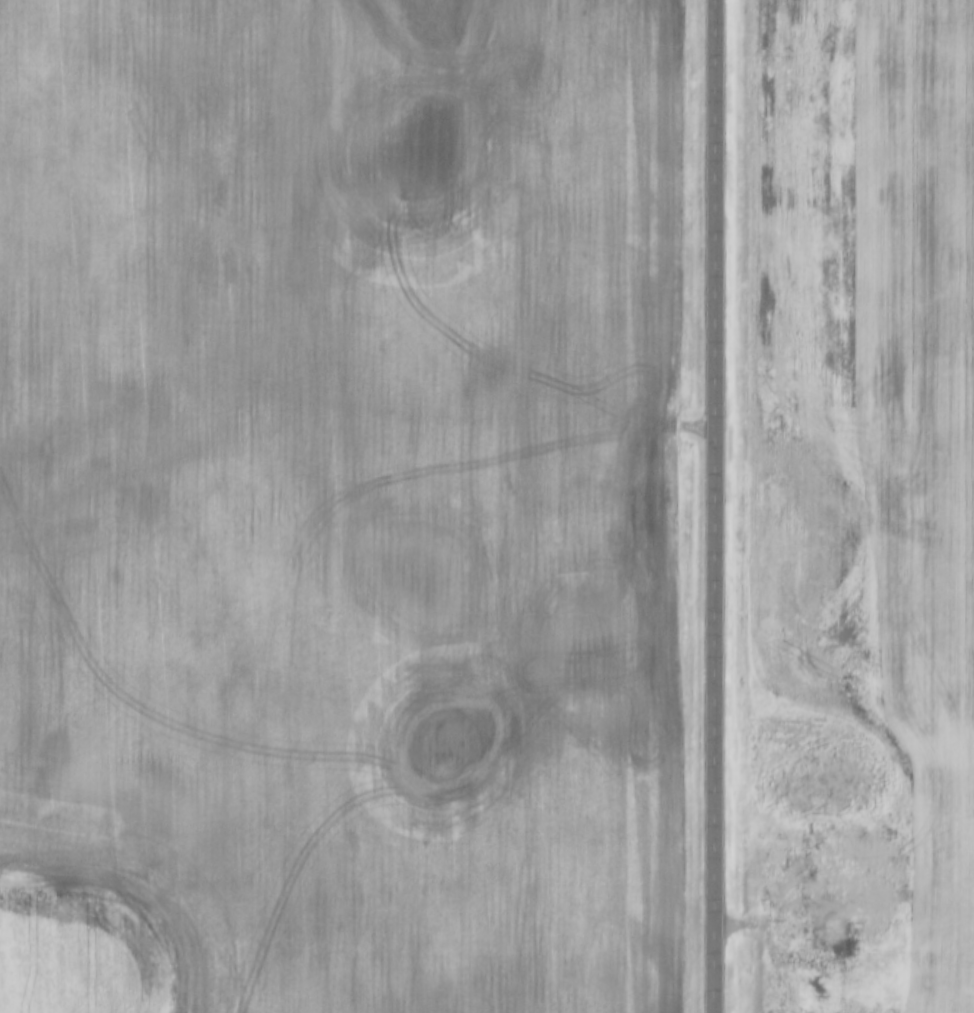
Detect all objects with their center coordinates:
road: (723, 506)

